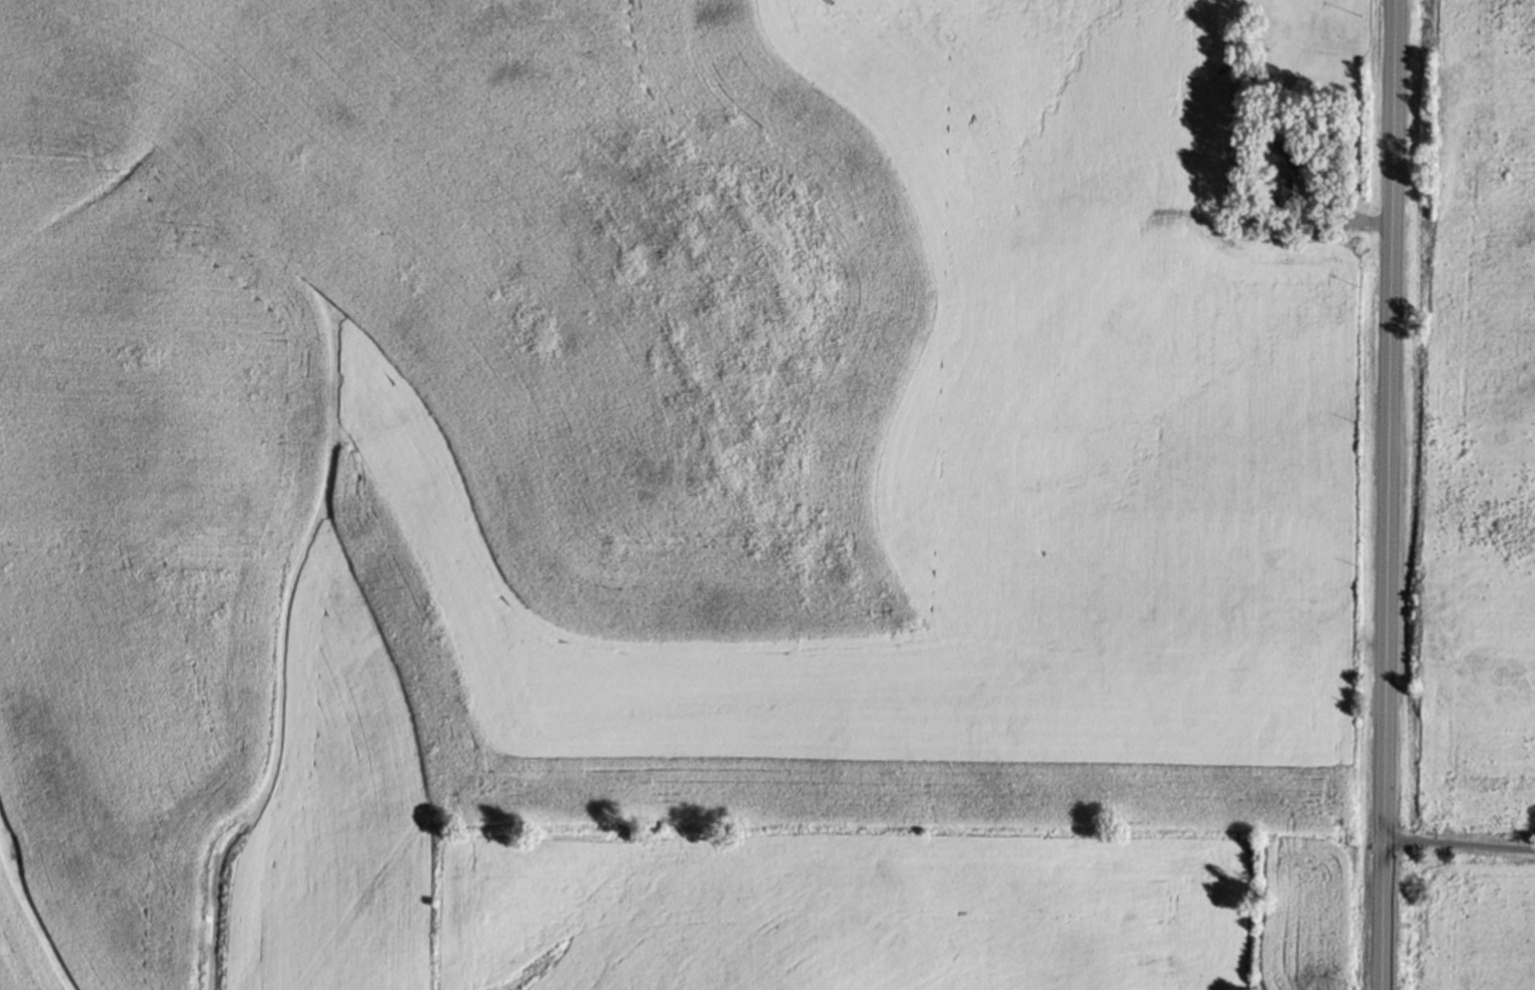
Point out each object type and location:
building: (1282, 170)
road: (1341, 213)
road: (1388, 494)
road: (1459, 844)

